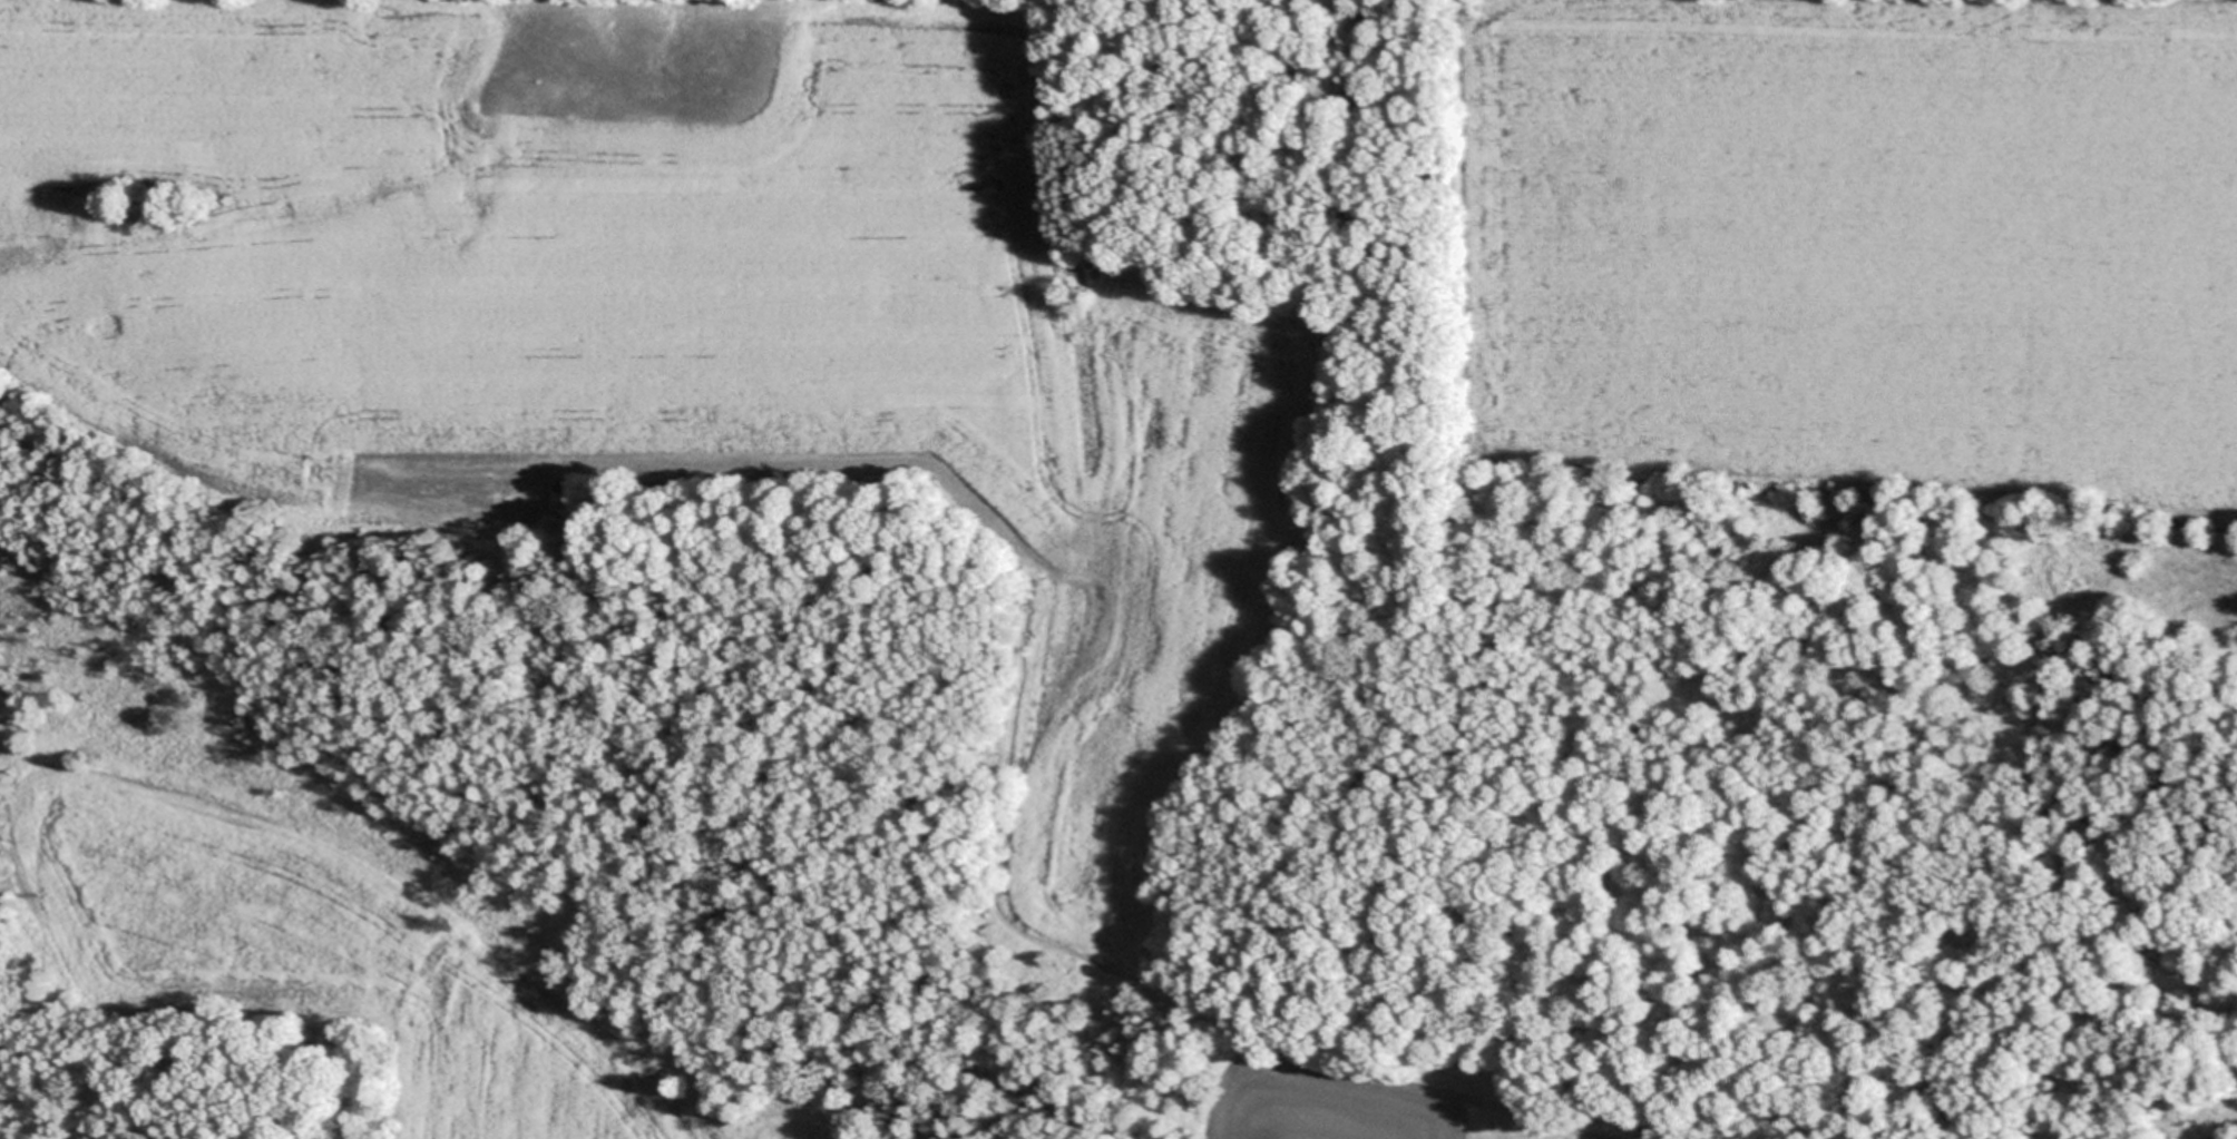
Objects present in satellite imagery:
building: (2204, 1130)

